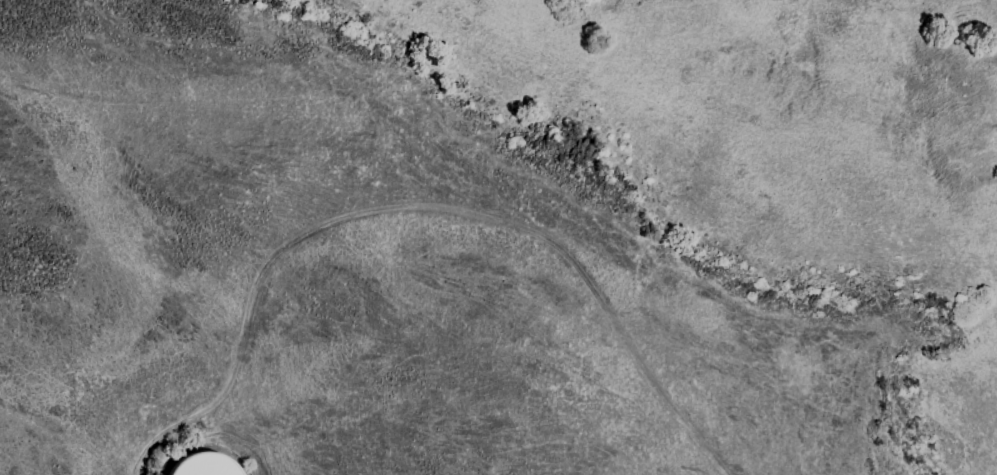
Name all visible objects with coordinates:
building: (205, 465)

